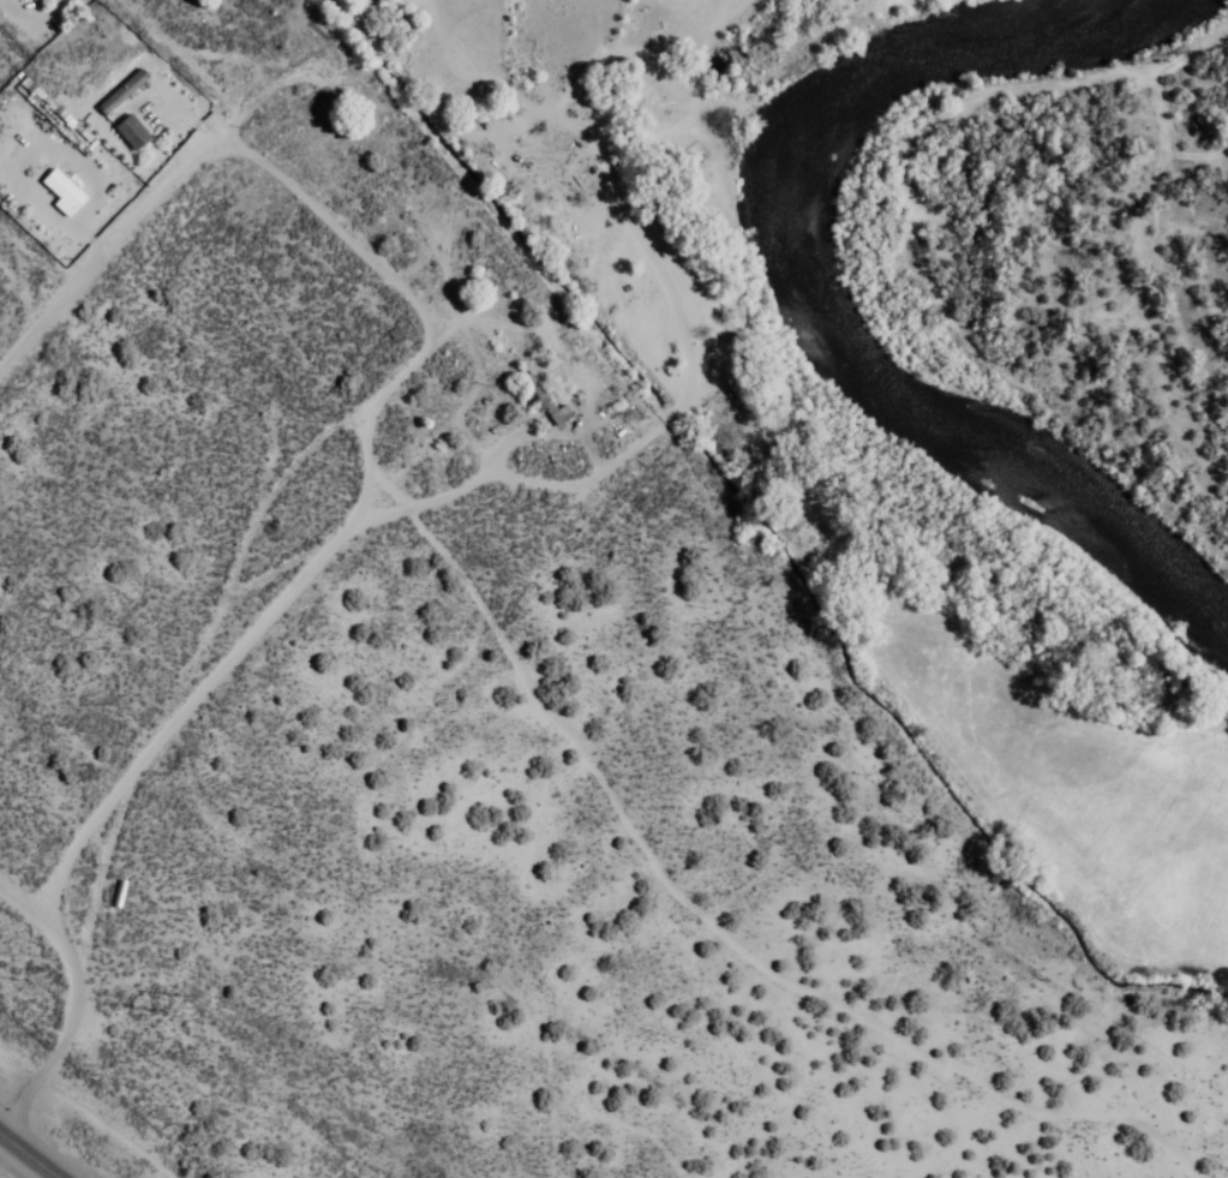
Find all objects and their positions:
building: (41, 0)
building: (407, 22)
building: (125, 94)
building: (133, 133)
road: (589, 201)
road: (62, 255)
river: (843, 313)
building: (501, 343)
building: (550, 403)
road: (493, 657)
road: (109, 729)
road: (664, 735)
road: (757, 839)
building: (122, 896)
power tower: (168, 1001)
road: (1090, 1069)
road: (29, 1155)

